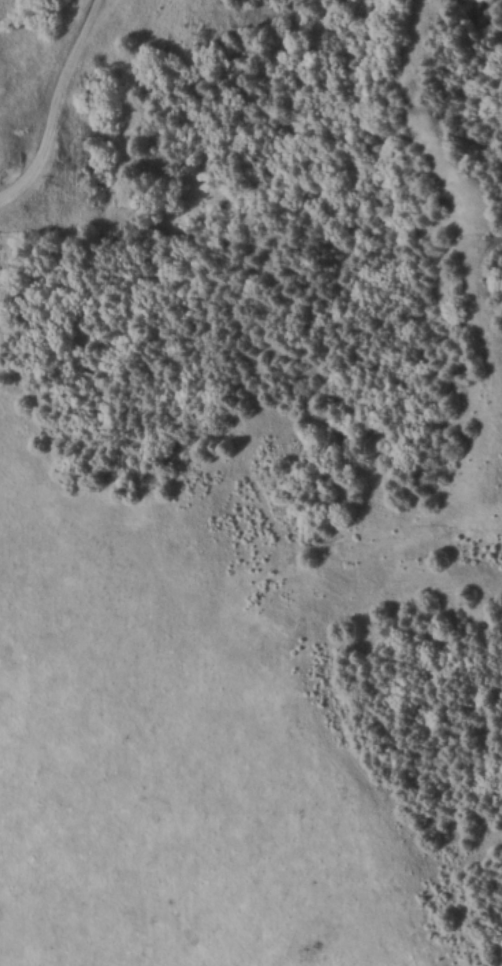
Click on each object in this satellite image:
road: (52, 107)

